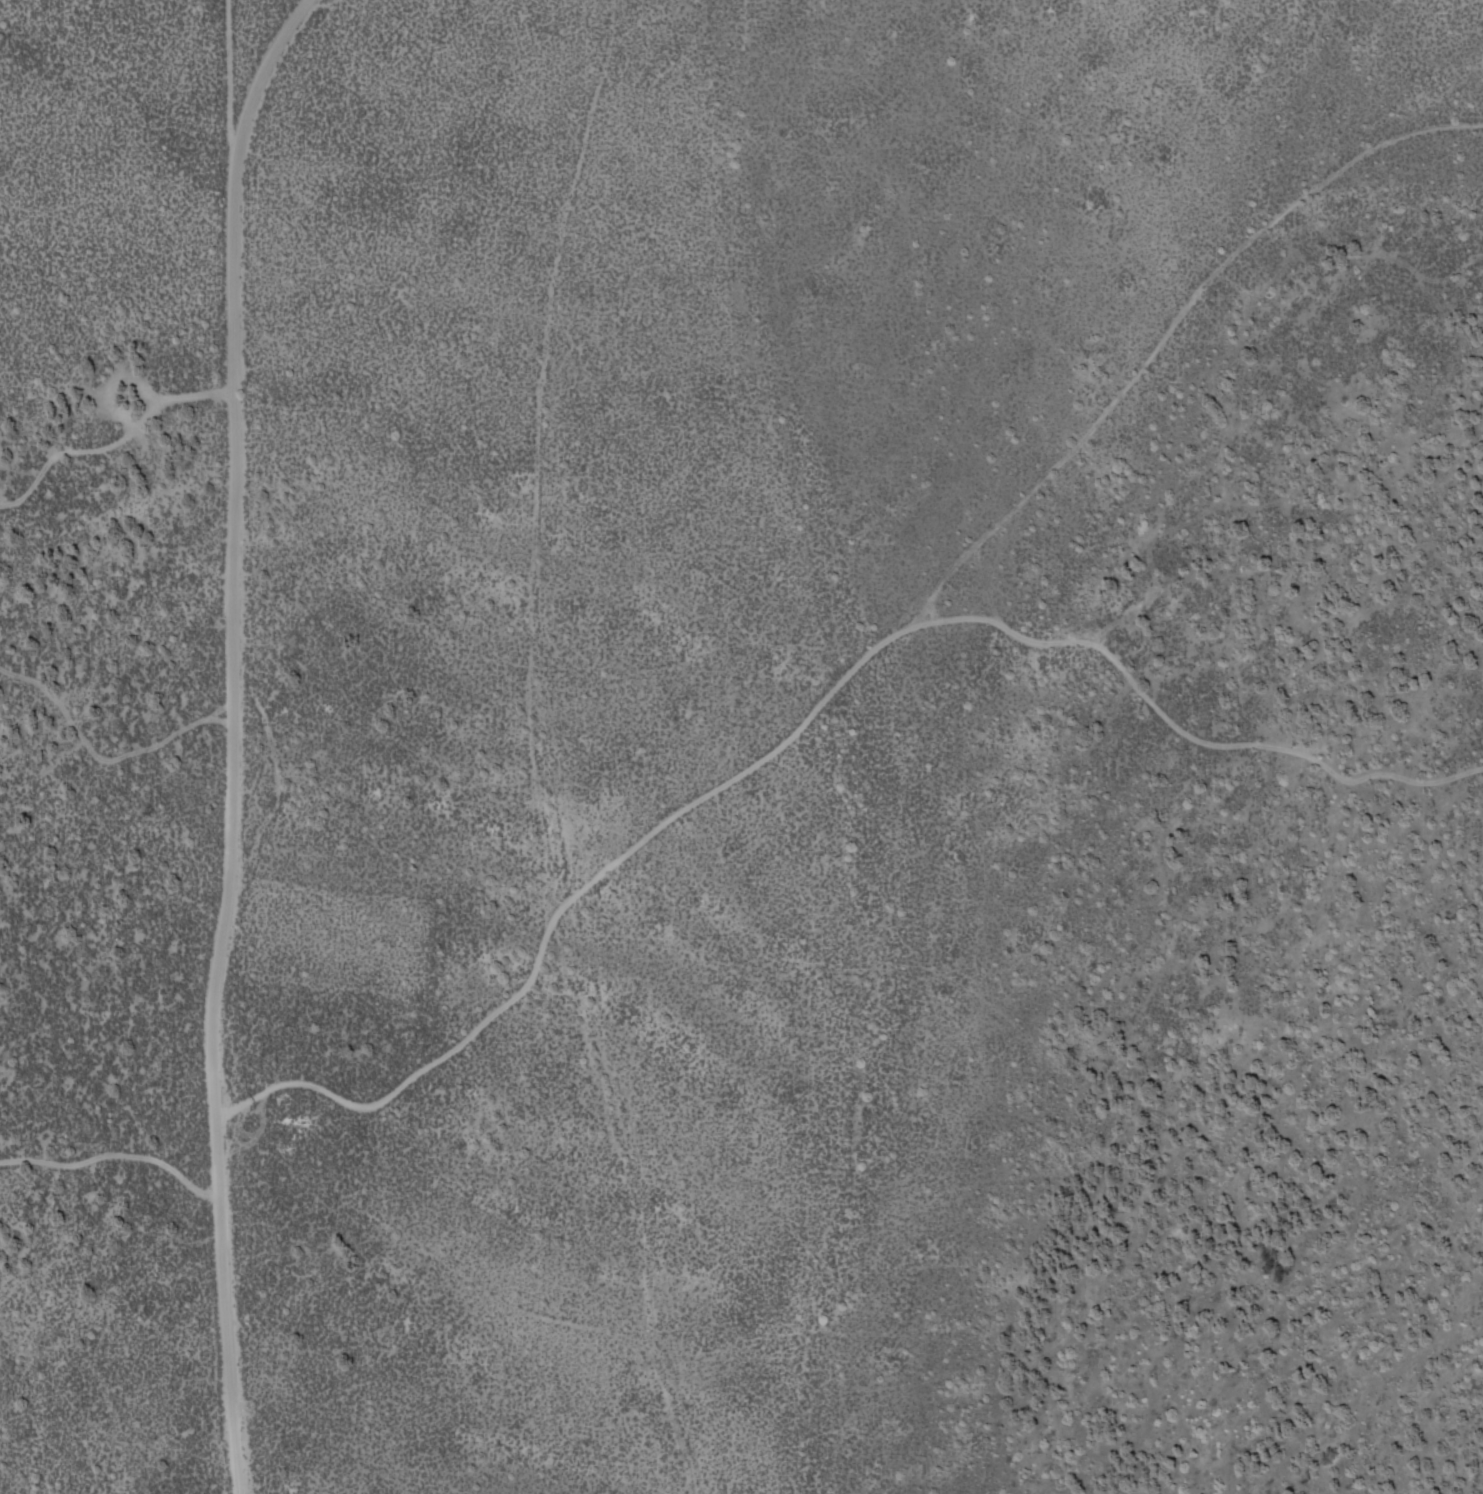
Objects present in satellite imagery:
road: (287, 55)
road: (915, 648)
road: (279, 746)

